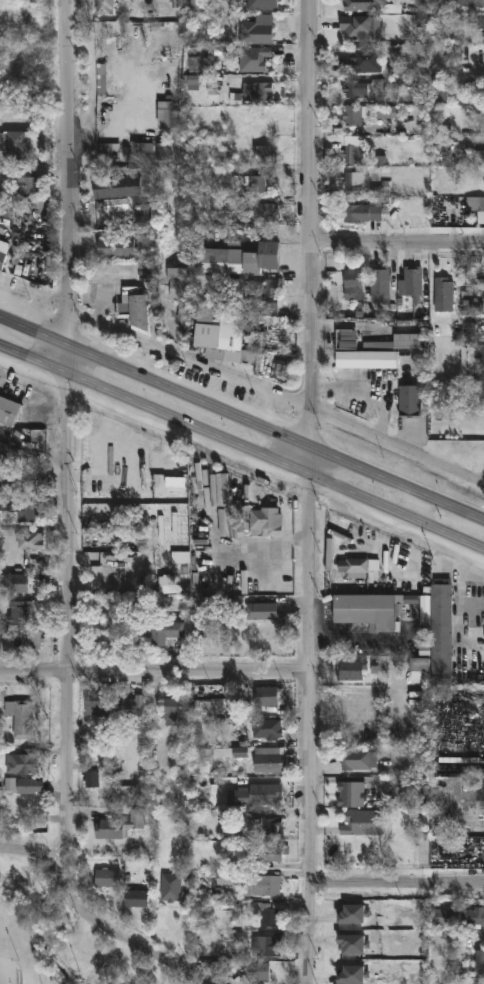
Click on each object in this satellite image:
building: (470, 2)
building: (363, 5)
building: (104, 6)
building: (196, 6)
building: (26, 7)
building: (356, 27)
building: (257, 29)
building: (253, 58)
building: (362, 60)
building: (100, 81)
building: (363, 88)
building: (256, 91)
building: (383, 112)
building: (166, 114)
building: (353, 115)
building: (131, 125)
building: (19, 144)
building: (105, 153)
building: (264, 153)
building: (352, 156)
road: (71, 174)
building: (25, 179)
building: (353, 181)
building: (3, 182)
building: (260, 186)
building: (106, 188)
building: (227, 203)
building: (476, 207)
building: (264, 212)
building: (361, 212)
building: (143, 214)
road: (315, 225)
building: (116, 247)
road: (399, 248)
building: (2, 249)
building: (235, 257)
road: (10, 261)
road: (104, 281)
building: (353, 281)
building: (379, 283)
building: (407, 283)
building: (178, 284)
building: (443, 290)
building: (265, 293)
building: (133, 308)
building: (219, 333)
building: (365, 360)
building: (470, 362)
road: (276, 397)
building: (409, 400)
building: (23, 417)
road: (241, 421)
road: (243, 445)
building: (114, 455)
building: (19, 511)
building: (266, 520)
building: (29, 540)
building: (225, 545)
building: (359, 564)
building: (109, 579)
building: (15, 582)
road: (72, 603)
building: (260, 610)
building: (17, 613)
building: (407, 620)
building: (165, 633)
building: (32, 640)
building: (418, 665)
building: (351, 670)
road: (155, 673)
building: (266, 695)
building: (97, 704)
building: (173, 707)
building: (208, 707)
building: (131, 708)
road: (312, 717)
building: (21, 718)
building: (266, 729)
building: (268, 759)
building: (352, 759)
building: (22, 761)
building: (200, 764)
building: (92, 781)
building: (28, 785)
building: (350, 793)
building: (362, 822)
building: (118, 825)
building: (265, 826)
building: (273, 851)
road: (36, 855)
building: (106, 877)
building: (263, 884)
road: (399, 888)
building: (171, 889)
building: (135, 898)
building: (166, 899)
building: (270, 914)
building: (474, 917)
building: (441, 918)
park: (66, 933)
road: (124, 937)
building: (267, 945)
building: (480, 964)
building: (259, 971)

